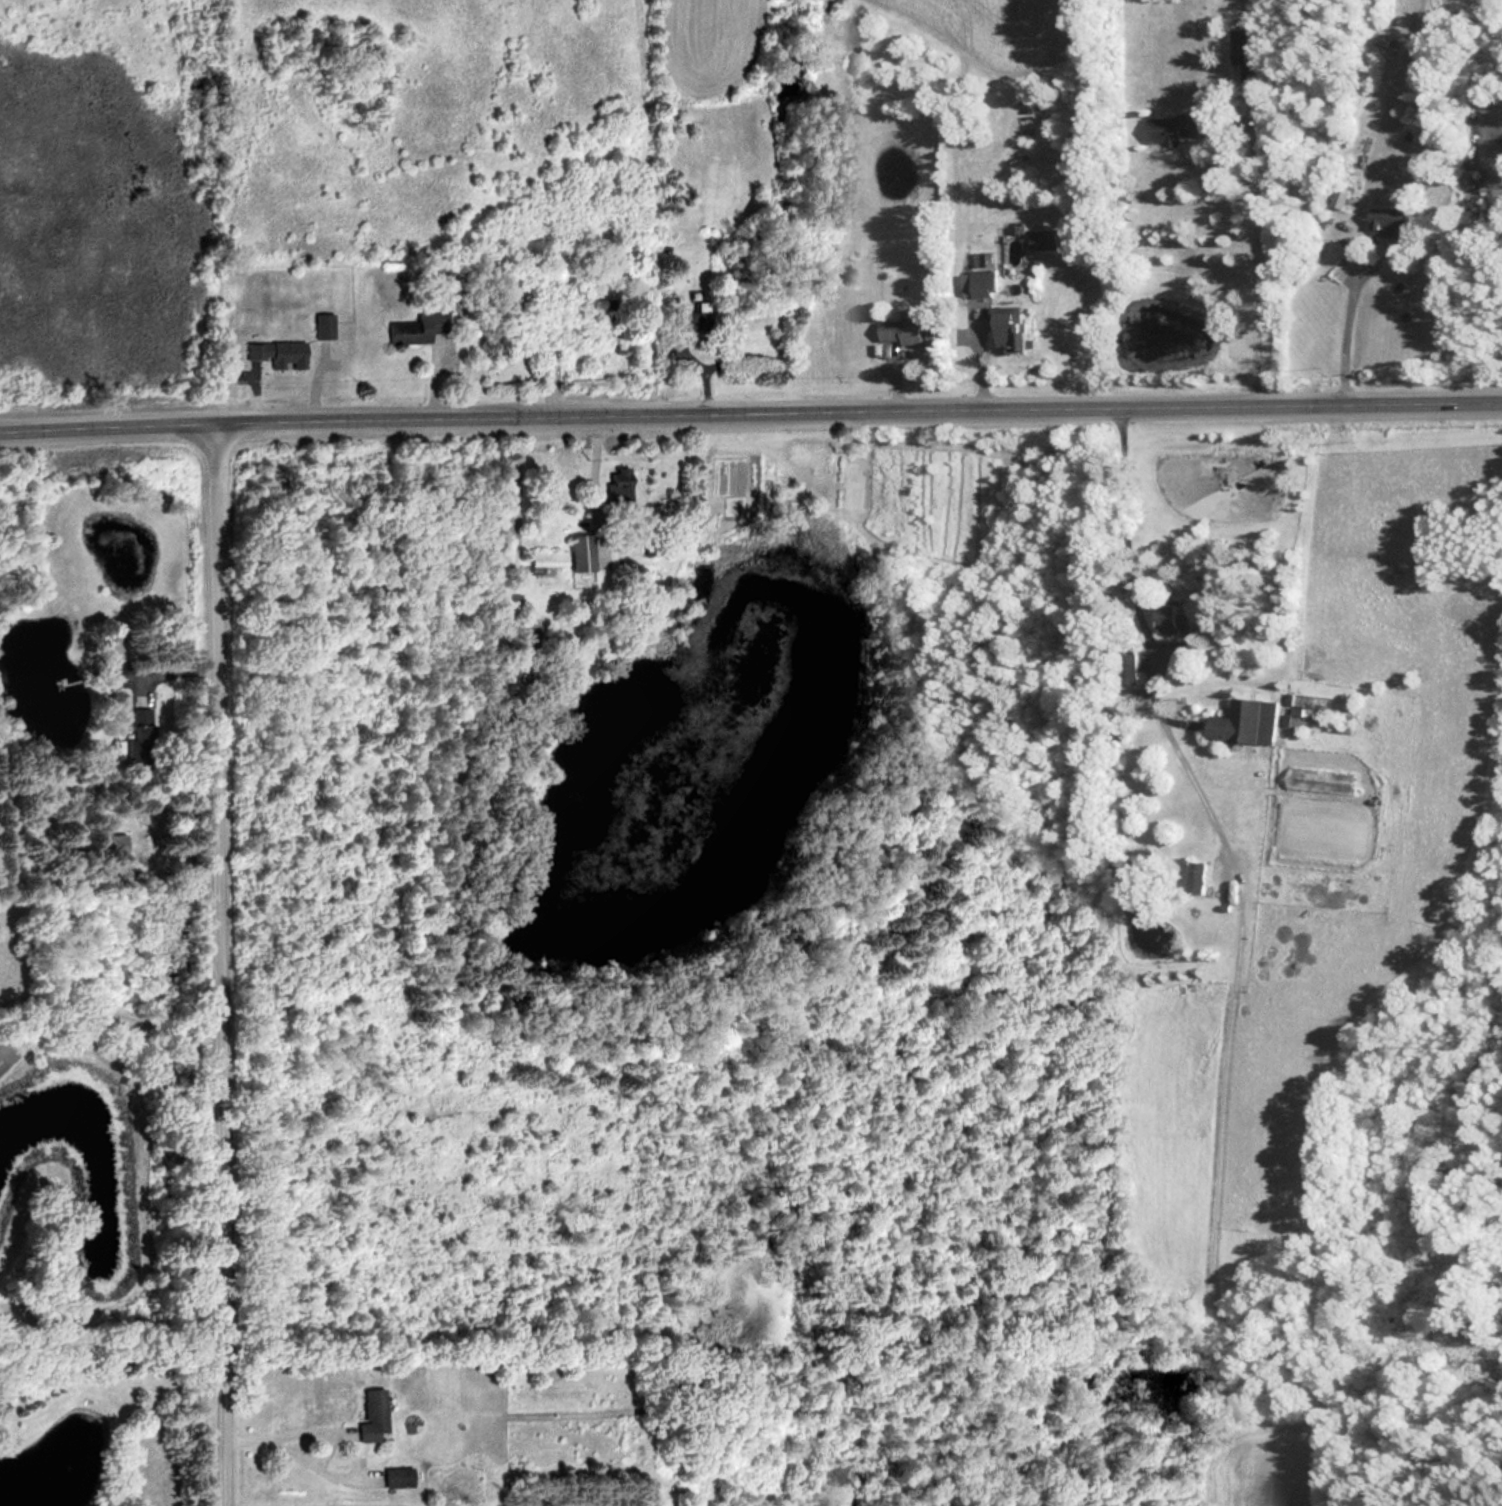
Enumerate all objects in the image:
building: (1242, 45)
building: (1169, 128)
road: (1361, 196)
building: (1338, 198)
building: (1387, 222)
building: (1043, 239)
building: (979, 281)
road: (1250, 289)
building: (319, 325)
building: (555, 327)
building: (412, 328)
building: (905, 331)
building: (1007, 332)
building: (275, 354)
road: (750, 406)
building: (610, 481)
building: (562, 554)
building: (1171, 619)
building: (1125, 666)
building: (1242, 720)
building: (1192, 875)
road: (218, 960)
building: (362, 1414)
road: (275, 1435)
building: (393, 1476)

